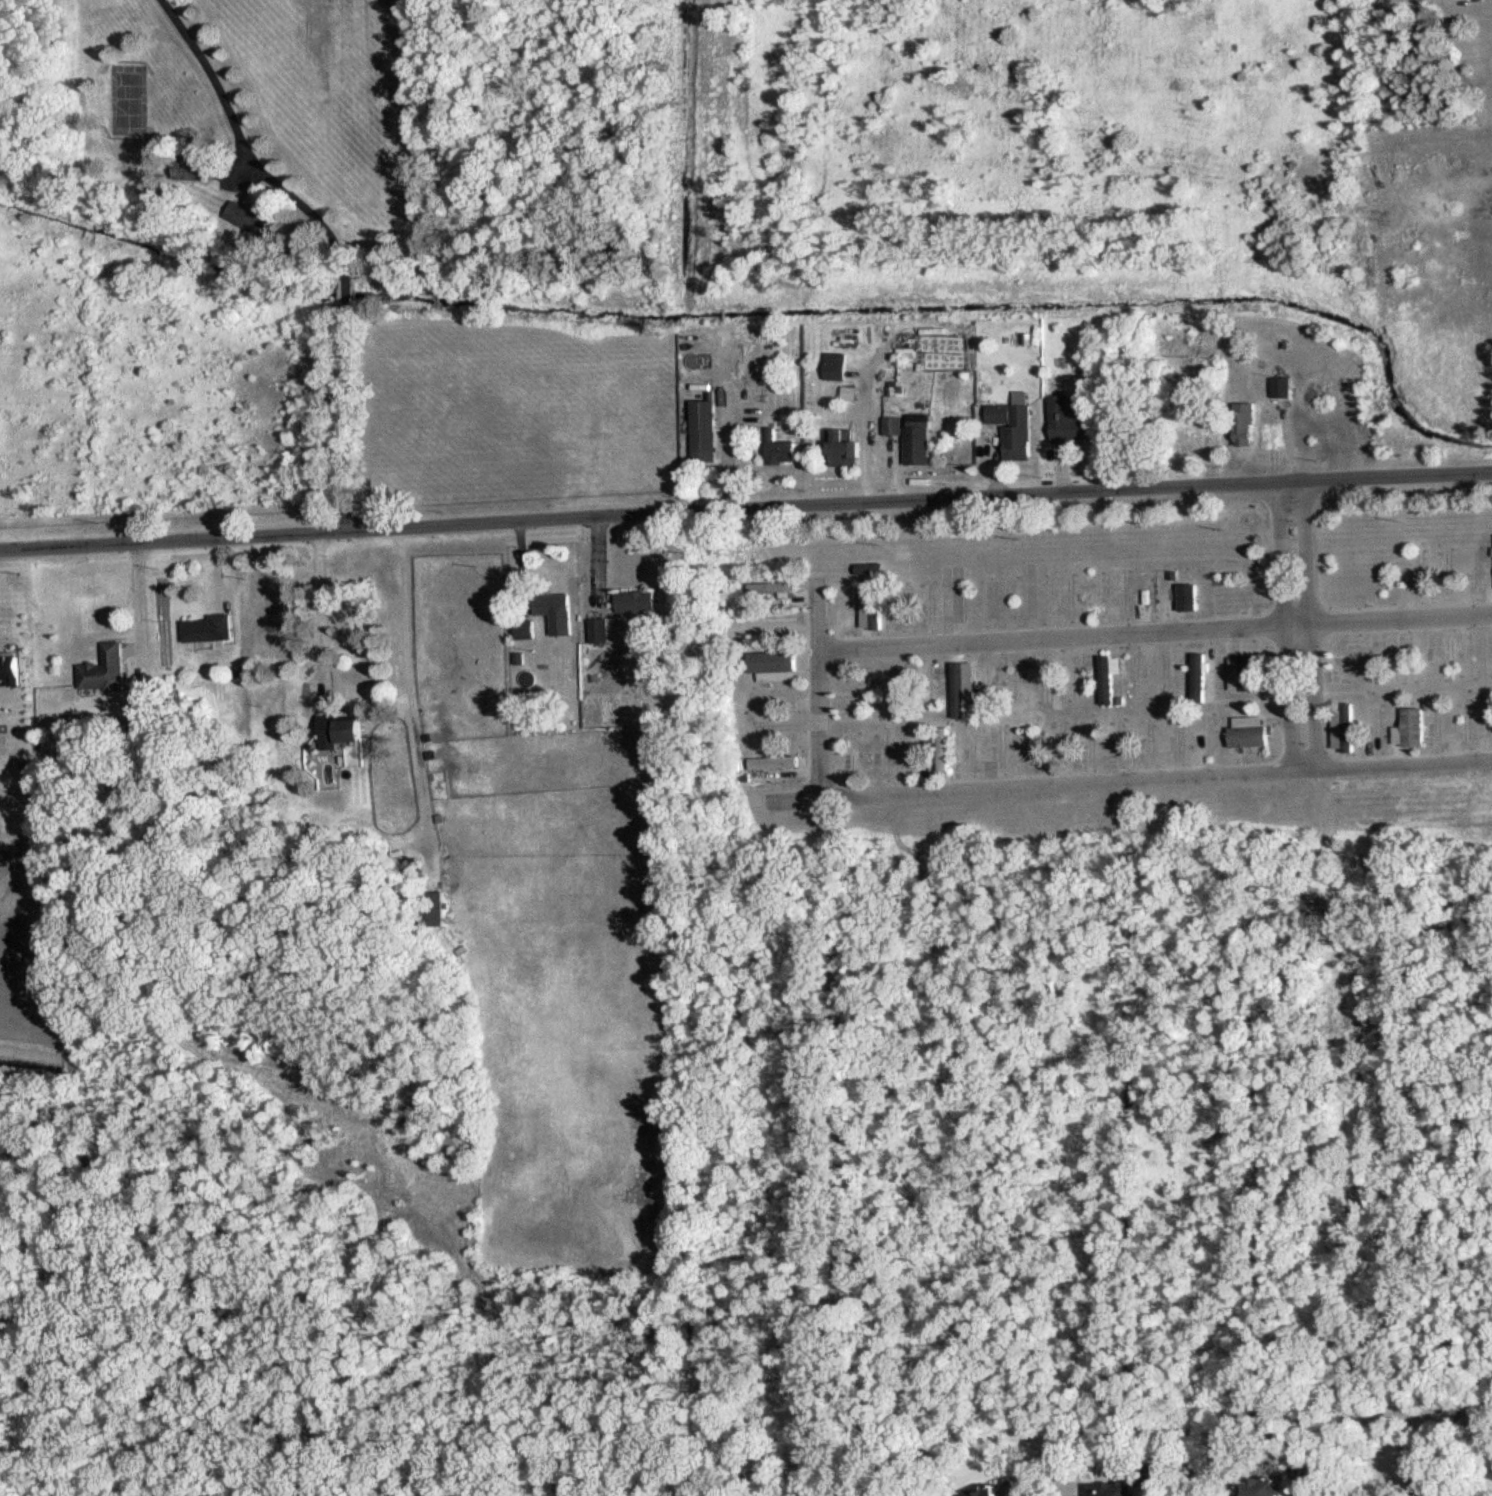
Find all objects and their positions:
road: (244, 147)
building: (193, 167)
building: (251, 217)
road: (345, 291)
building: (836, 366)
building: (1281, 387)
road: (344, 418)
building: (1068, 419)
building: (1244, 425)
building: (893, 426)
building: (1013, 429)
building: (704, 430)
building: (1189, 438)
building: (917, 445)
building: (845, 448)
building: (781, 449)
road: (745, 512)
building: (771, 586)
building: (1099, 591)
building: (954, 595)
building: (1188, 596)
road: (134, 598)
road: (314, 601)
building: (636, 601)
building: (552, 603)
building: (842, 605)
building: (870, 611)
building: (776, 623)
road: (1296, 627)
building: (525, 628)
building: (207, 629)
building: (598, 630)
road: (1154, 634)
building: (1453, 655)
building: (772, 662)
building: (105, 668)
building: (1236, 673)
building: (1109, 679)
building: (1201, 679)
building: (1252, 679)
building: (987, 681)
building: (1051, 681)
road: (816, 688)
building: (957, 690)
building: (1410, 728)
building: (341, 729)
building: (1343, 729)
building: (1250, 731)
building: (913, 748)
building: (942, 748)
road: (1127, 779)
building: (431, 908)
building: (1262, 1487)
building: (1111, 1489)
building: (991, 1490)

